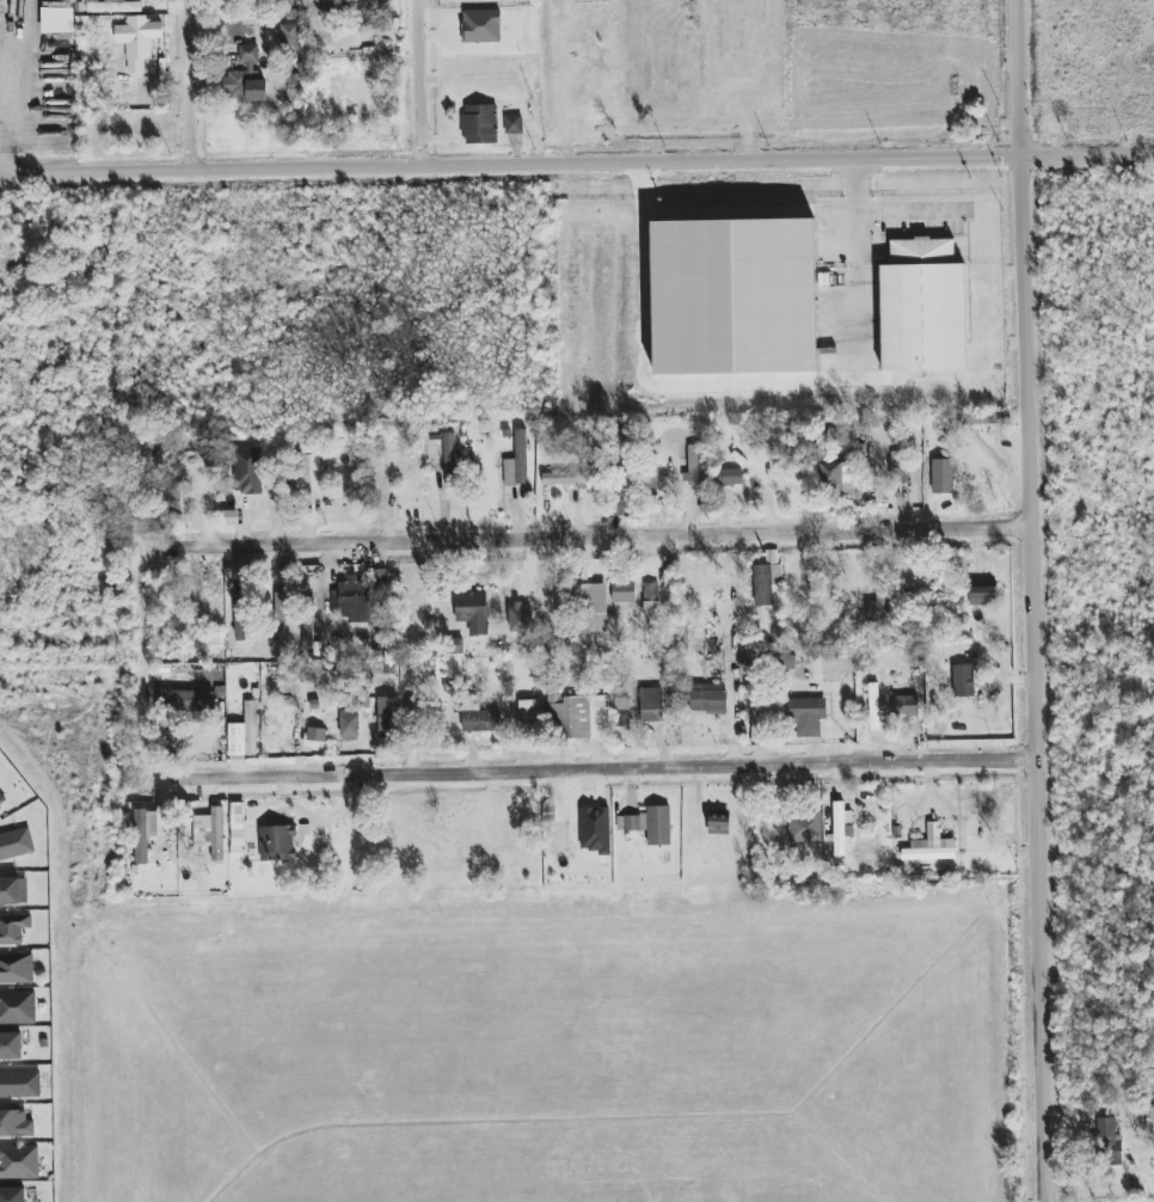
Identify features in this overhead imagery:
building: (336, 5)
building: (115, 6)
building: (57, 20)
building: (481, 26)
building: (288, 36)
building: (137, 41)
building: (245, 78)
road: (426, 82)
road: (194, 85)
road: (8, 90)
building: (479, 124)
building: (512, 124)
road: (0, 162)
road: (577, 162)
road: (909, 213)
road: (854, 257)
building: (733, 299)
building: (922, 307)
building: (449, 460)
building: (517, 462)
building: (698, 466)
building: (900, 467)
building: (248, 471)
building: (312, 474)
building: (830, 474)
building: (941, 477)
building: (567, 478)
building: (730, 478)
building: (621, 496)
road: (591, 538)
building: (381, 583)
building: (766, 583)
building: (622, 590)
building: (311, 591)
building: (982, 596)
building: (651, 599)
building: (352, 600)
road: (1035, 600)
building: (879, 607)
building: (591, 611)
building: (473, 612)
building: (277, 617)
building: (239, 619)
building: (307, 630)
building: (454, 645)
building: (963, 680)
building: (708, 698)
building: (651, 705)
building: (873, 706)
building: (904, 706)
building: (527, 711)
building: (622, 712)
building: (806, 716)
building: (388, 717)
building: (479, 718)
building: (582, 719)
building: (349, 725)
building: (244, 734)
building: (317, 735)
road: (614, 771)
building: (1, 801)
building: (649, 824)
building: (718, 826)
building: (805, 827)
building: (841, 828)
building: (237, 830)
building: (149, 832)
building: (209, 832)
building: (560, 835)
building: (277, 844)
building: (16, 845)
building: (929, 850)
building: (13, 890)
building: (14, 927)
building: (16, 968)
building: (17, 1007)
building: (11, 1045)
building: (19, 1085)
building: (1149, 1120)
building: (16, 1124)
building: (1107, 1142)
building: (19, 1161)
building: (12, 1195)

